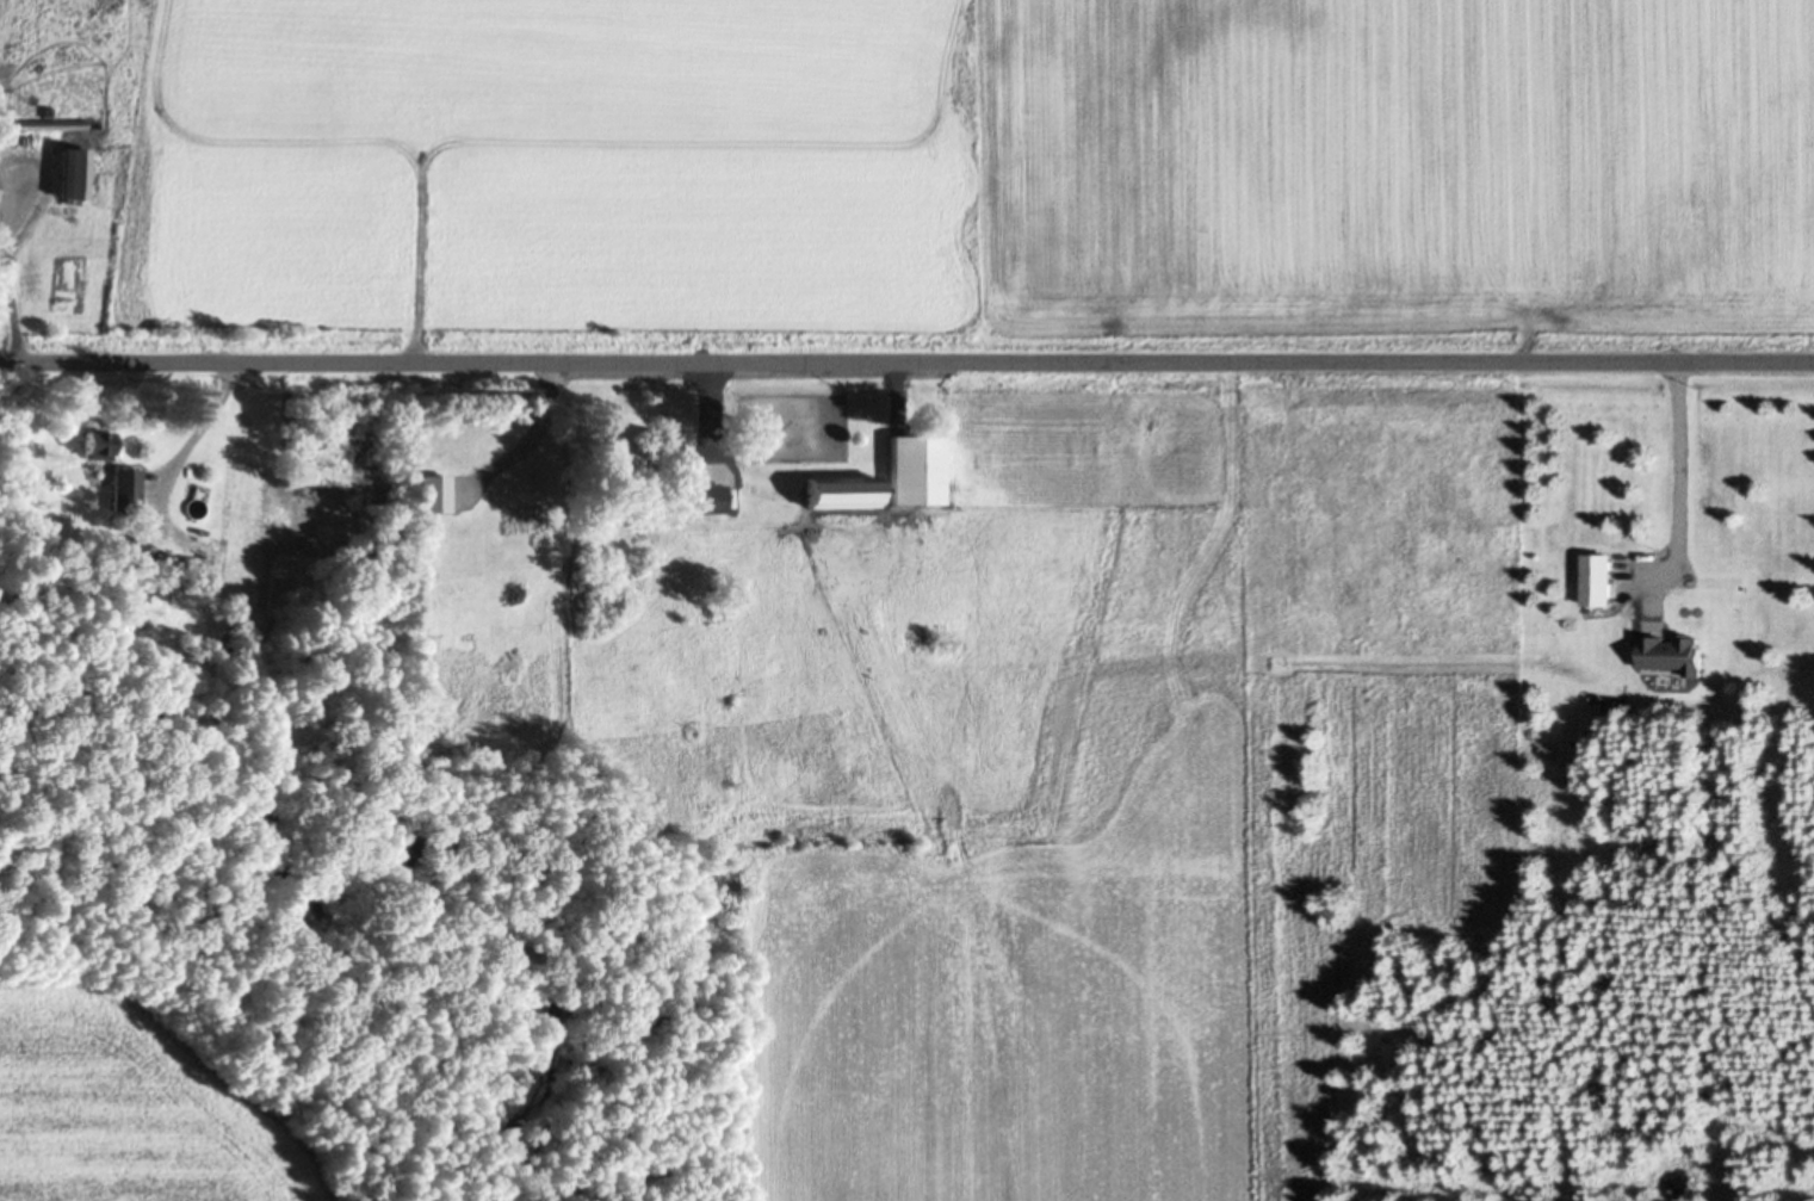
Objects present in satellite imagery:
road: (906, 361)
building: (914, 468)
building: (124, 488)
building: (837, 489)
building: (431, 491)
building: (705, 496)
building: (1595, 577)
building: (1670, 651)

